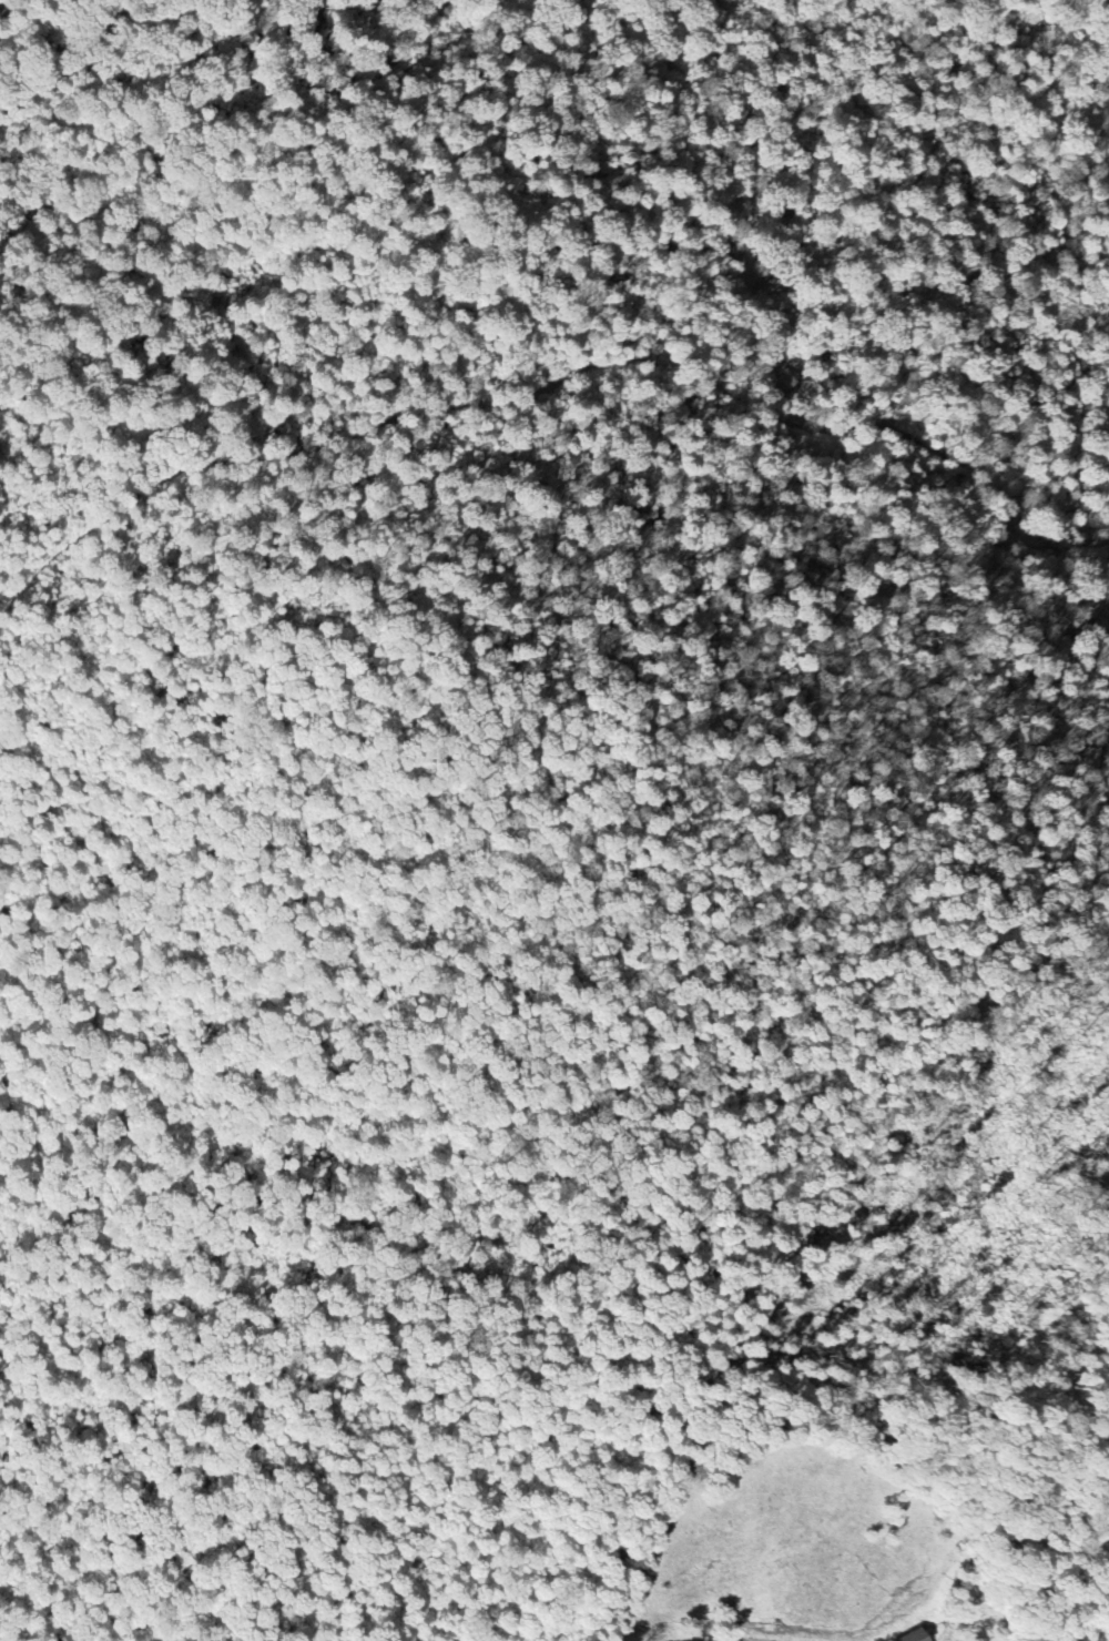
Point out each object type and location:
building: (907, 1637)

